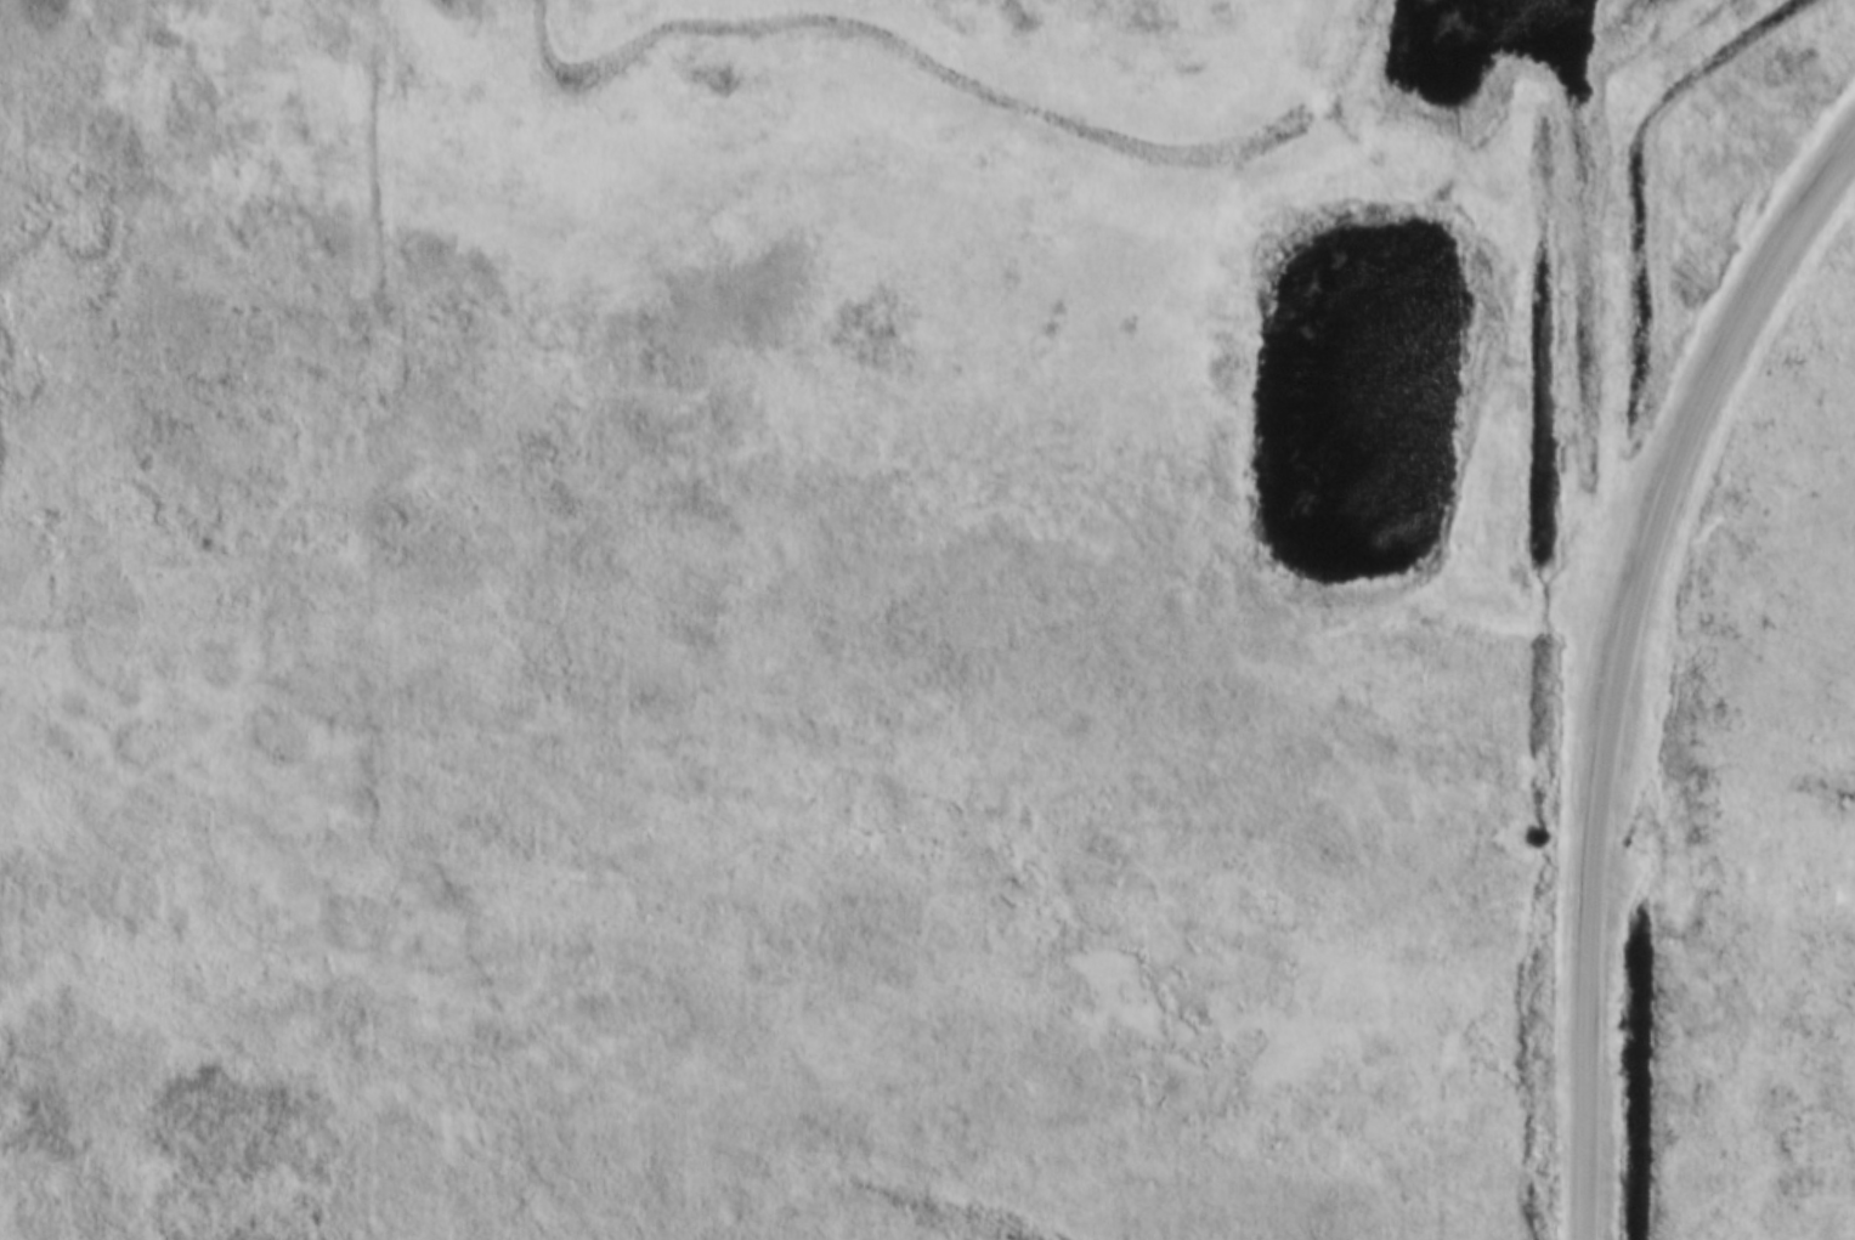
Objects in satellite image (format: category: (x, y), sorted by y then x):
road: (1621, 659)

